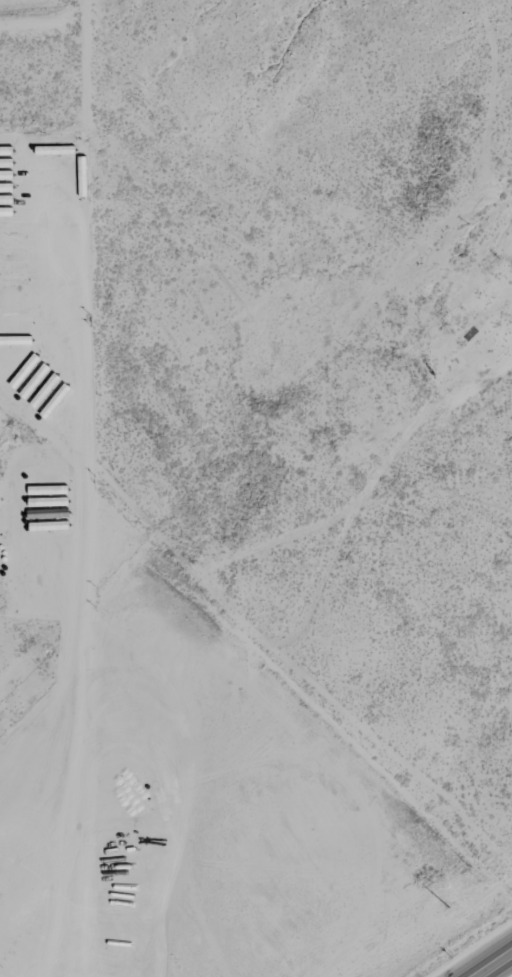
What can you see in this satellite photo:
building: (7, 163)
building: (7, 200)
building: (12, 239)
building: (13, 282)
building: (13, 297)
building: (15, 326)
building: (16, 340)
power tower: (451, 910)
road: (497, 967)

